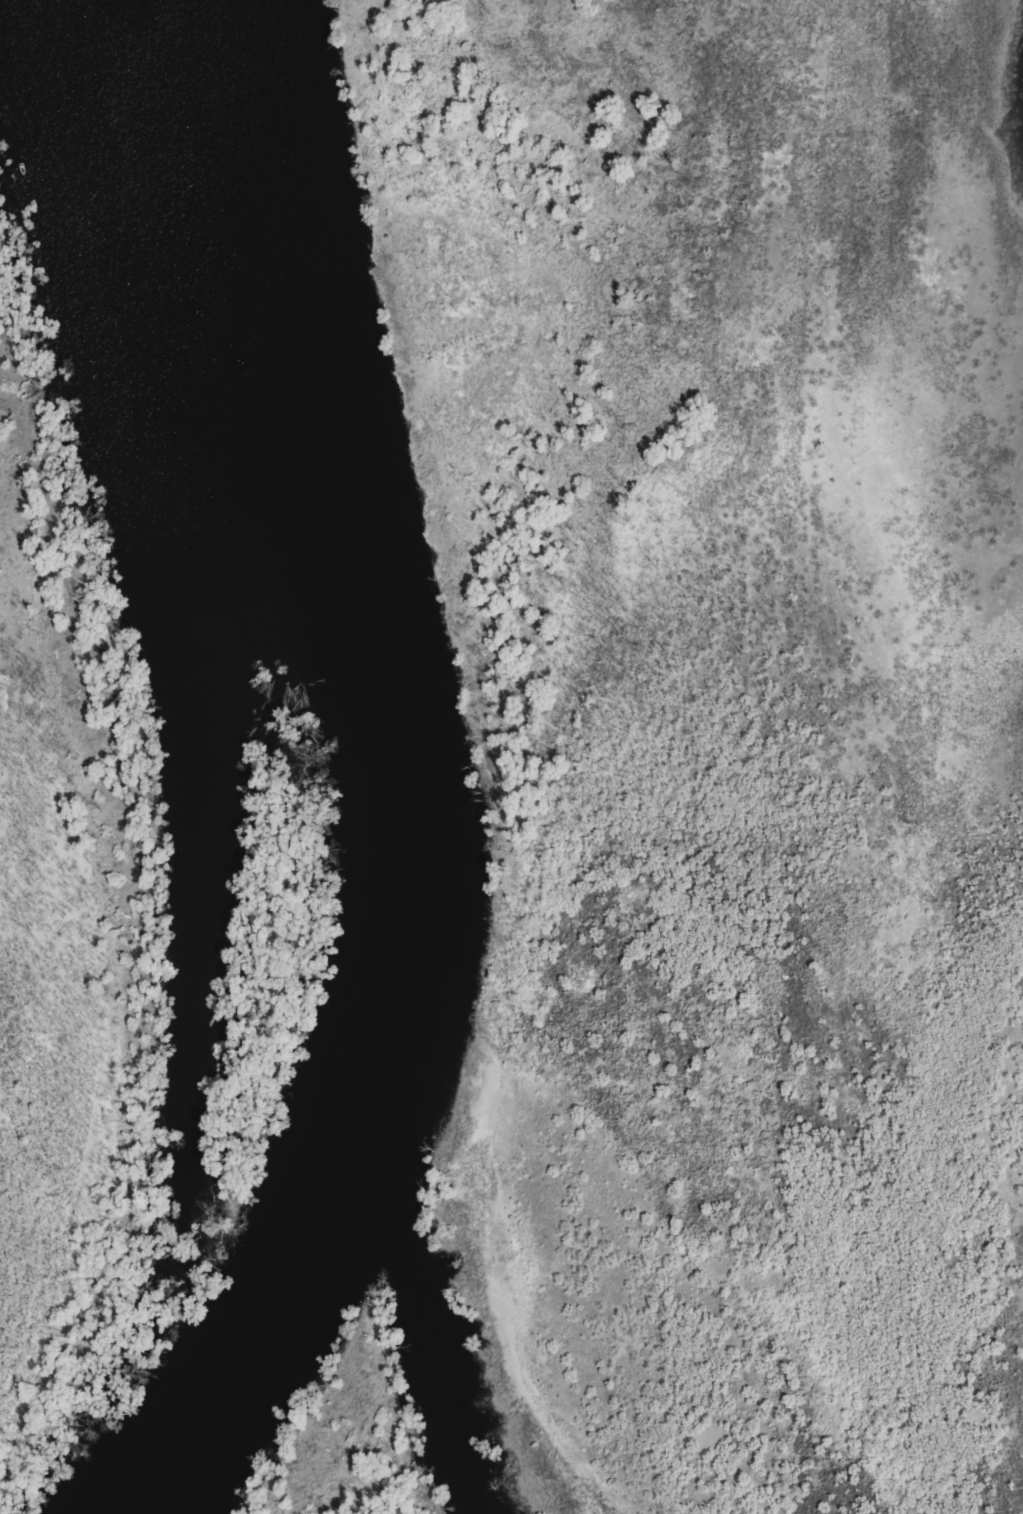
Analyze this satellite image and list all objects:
river: (374, 772)

